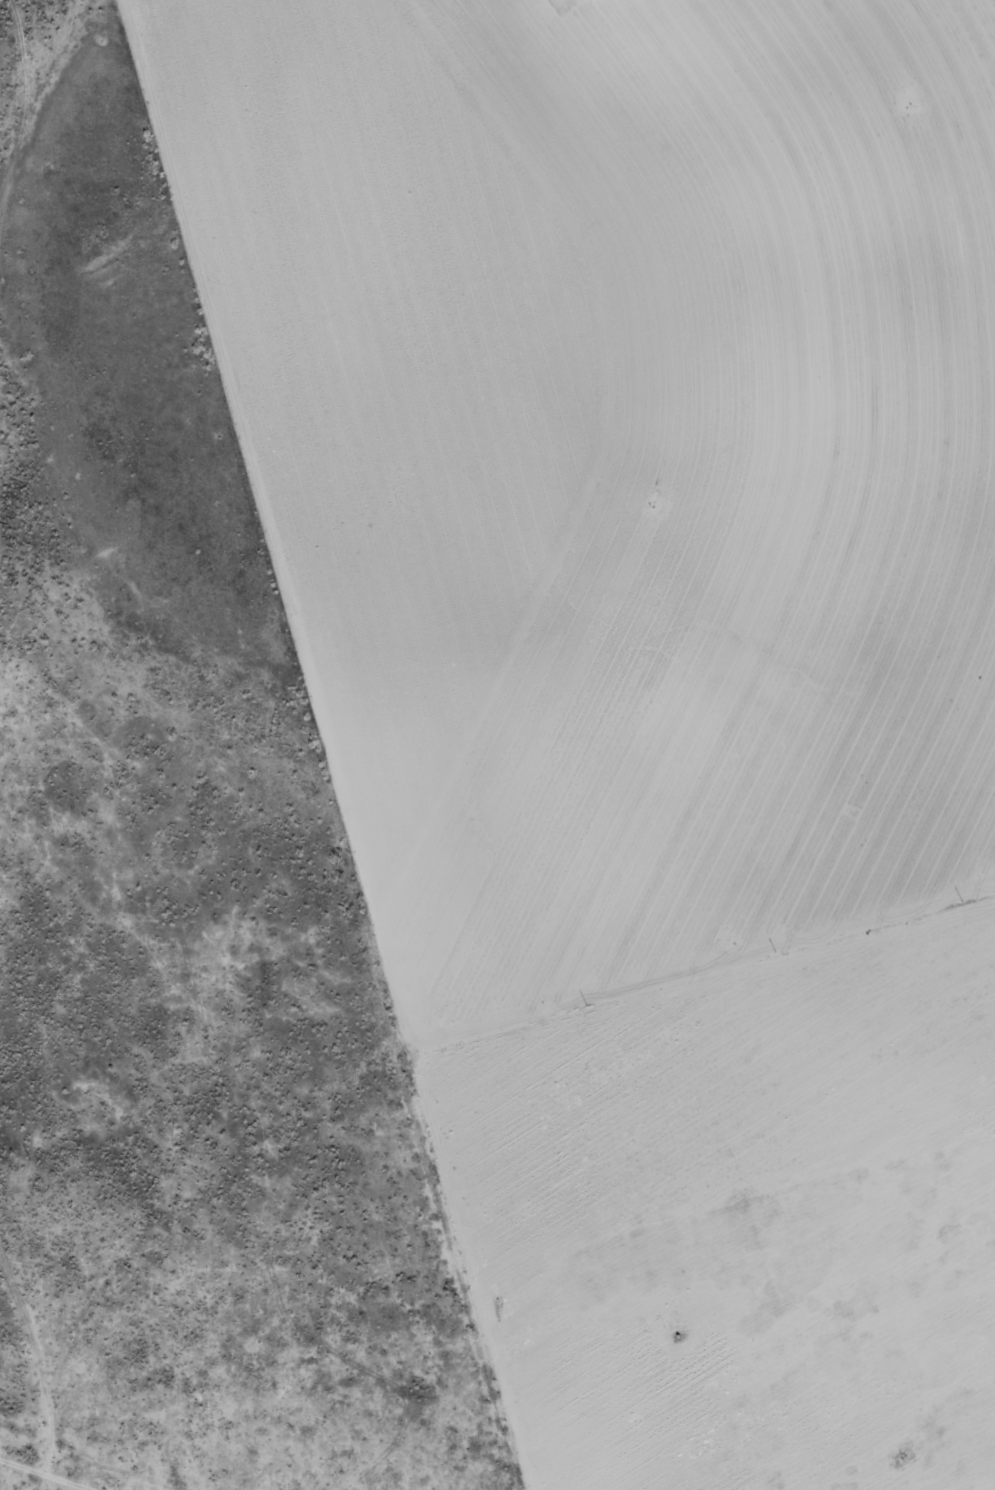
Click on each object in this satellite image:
road: (9, 1442)

